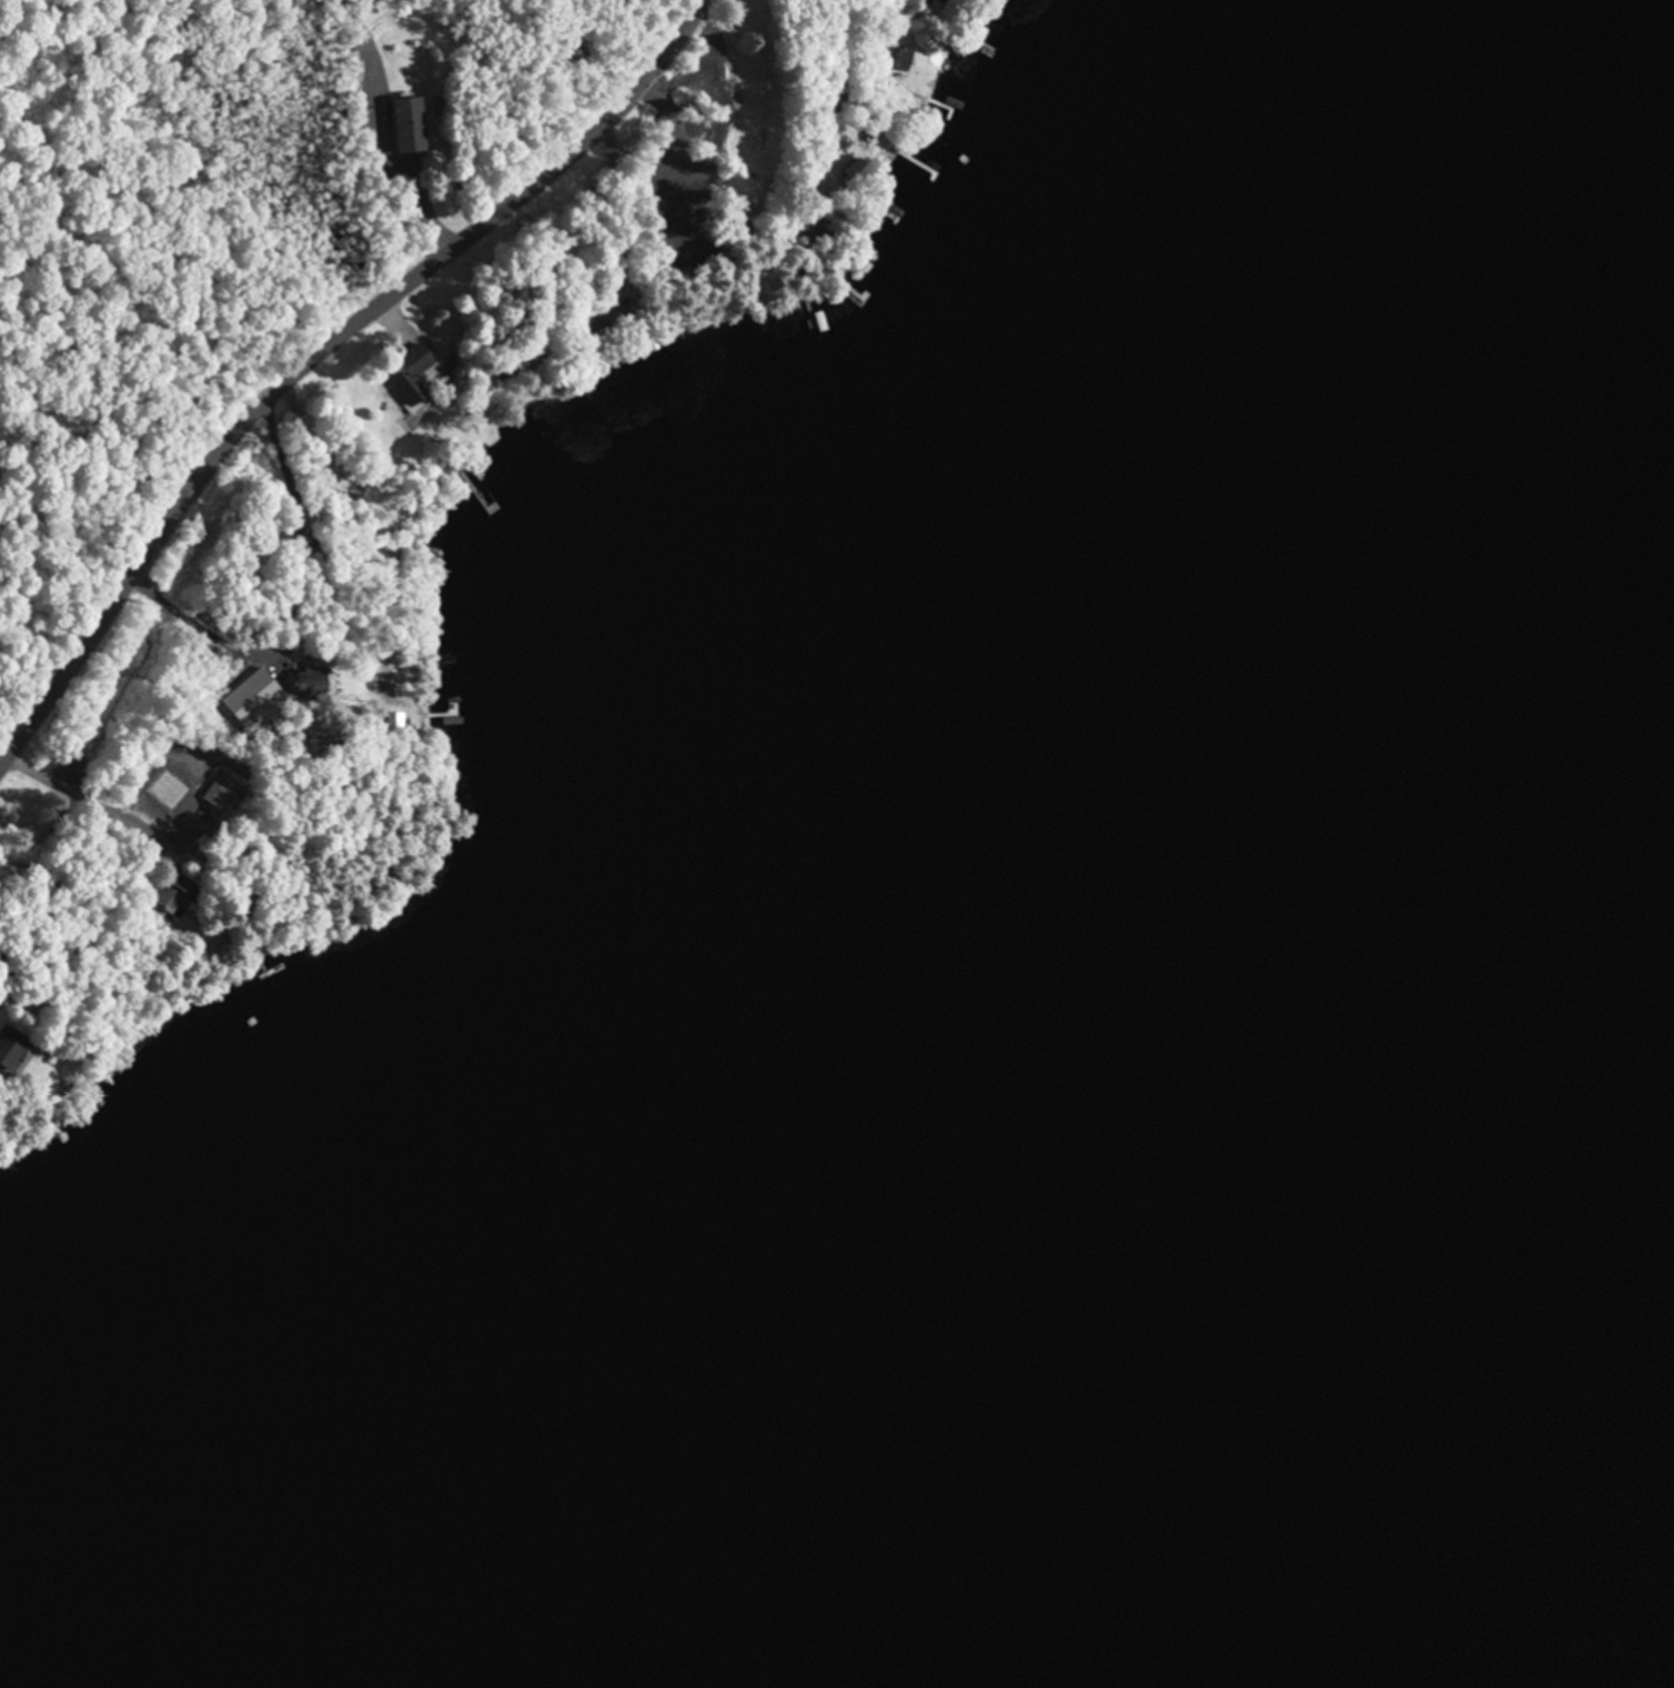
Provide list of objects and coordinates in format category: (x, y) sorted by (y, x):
building: (897, 59)
building: (413, 127)
road: (322, 352)
building: (415, 378)
road: (310, 621)
building: (224, 794)
road: (93, 807)
building: (178, 897)
building: (13, 1051)

